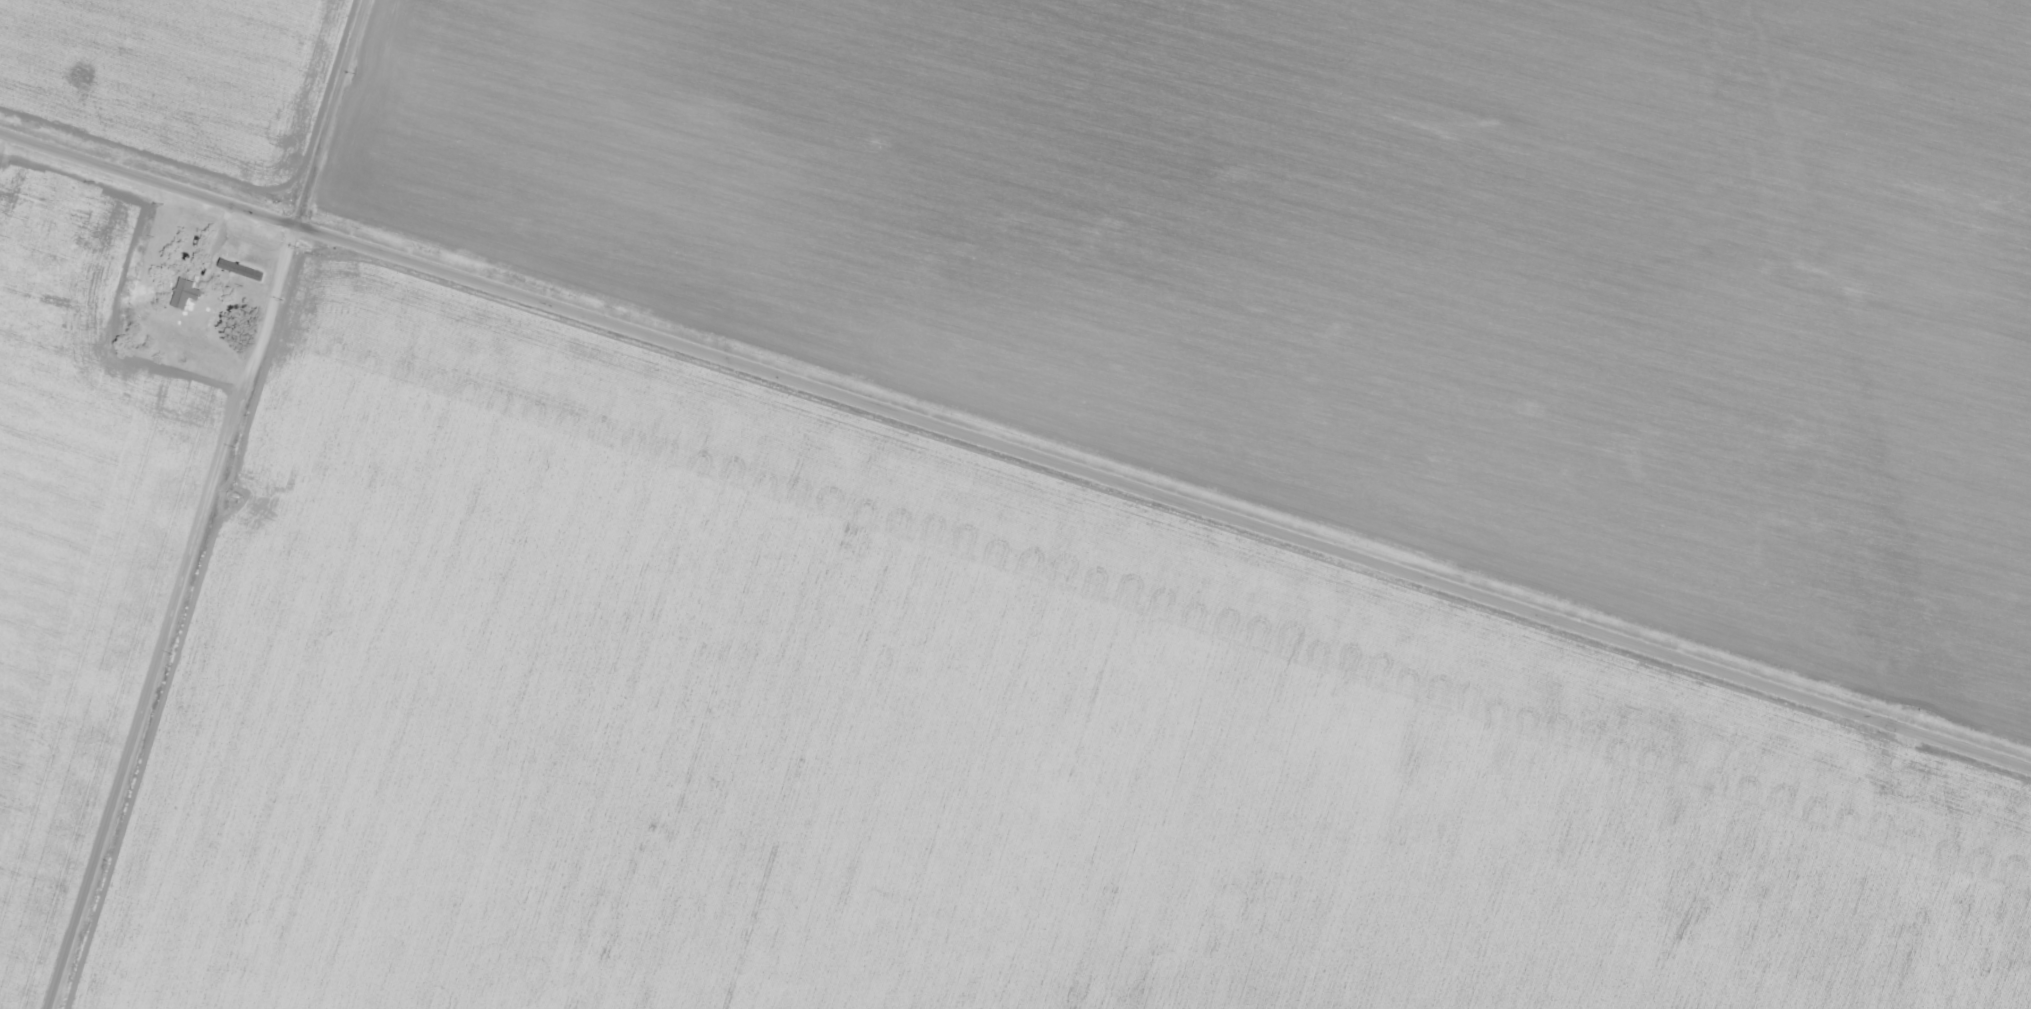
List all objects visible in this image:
building: (186, 293)
road: (1016, 432)
road: (235, 506)
building: (724, 673)

